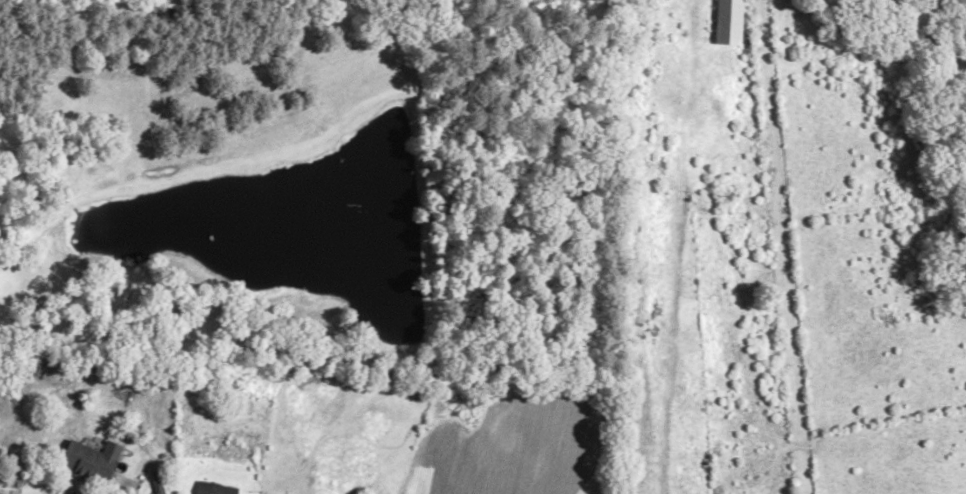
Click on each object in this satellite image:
building: (729, 22)
building: (91, 461)
building: (215, 488)
road: (3, 492)
building: (277, 492)

